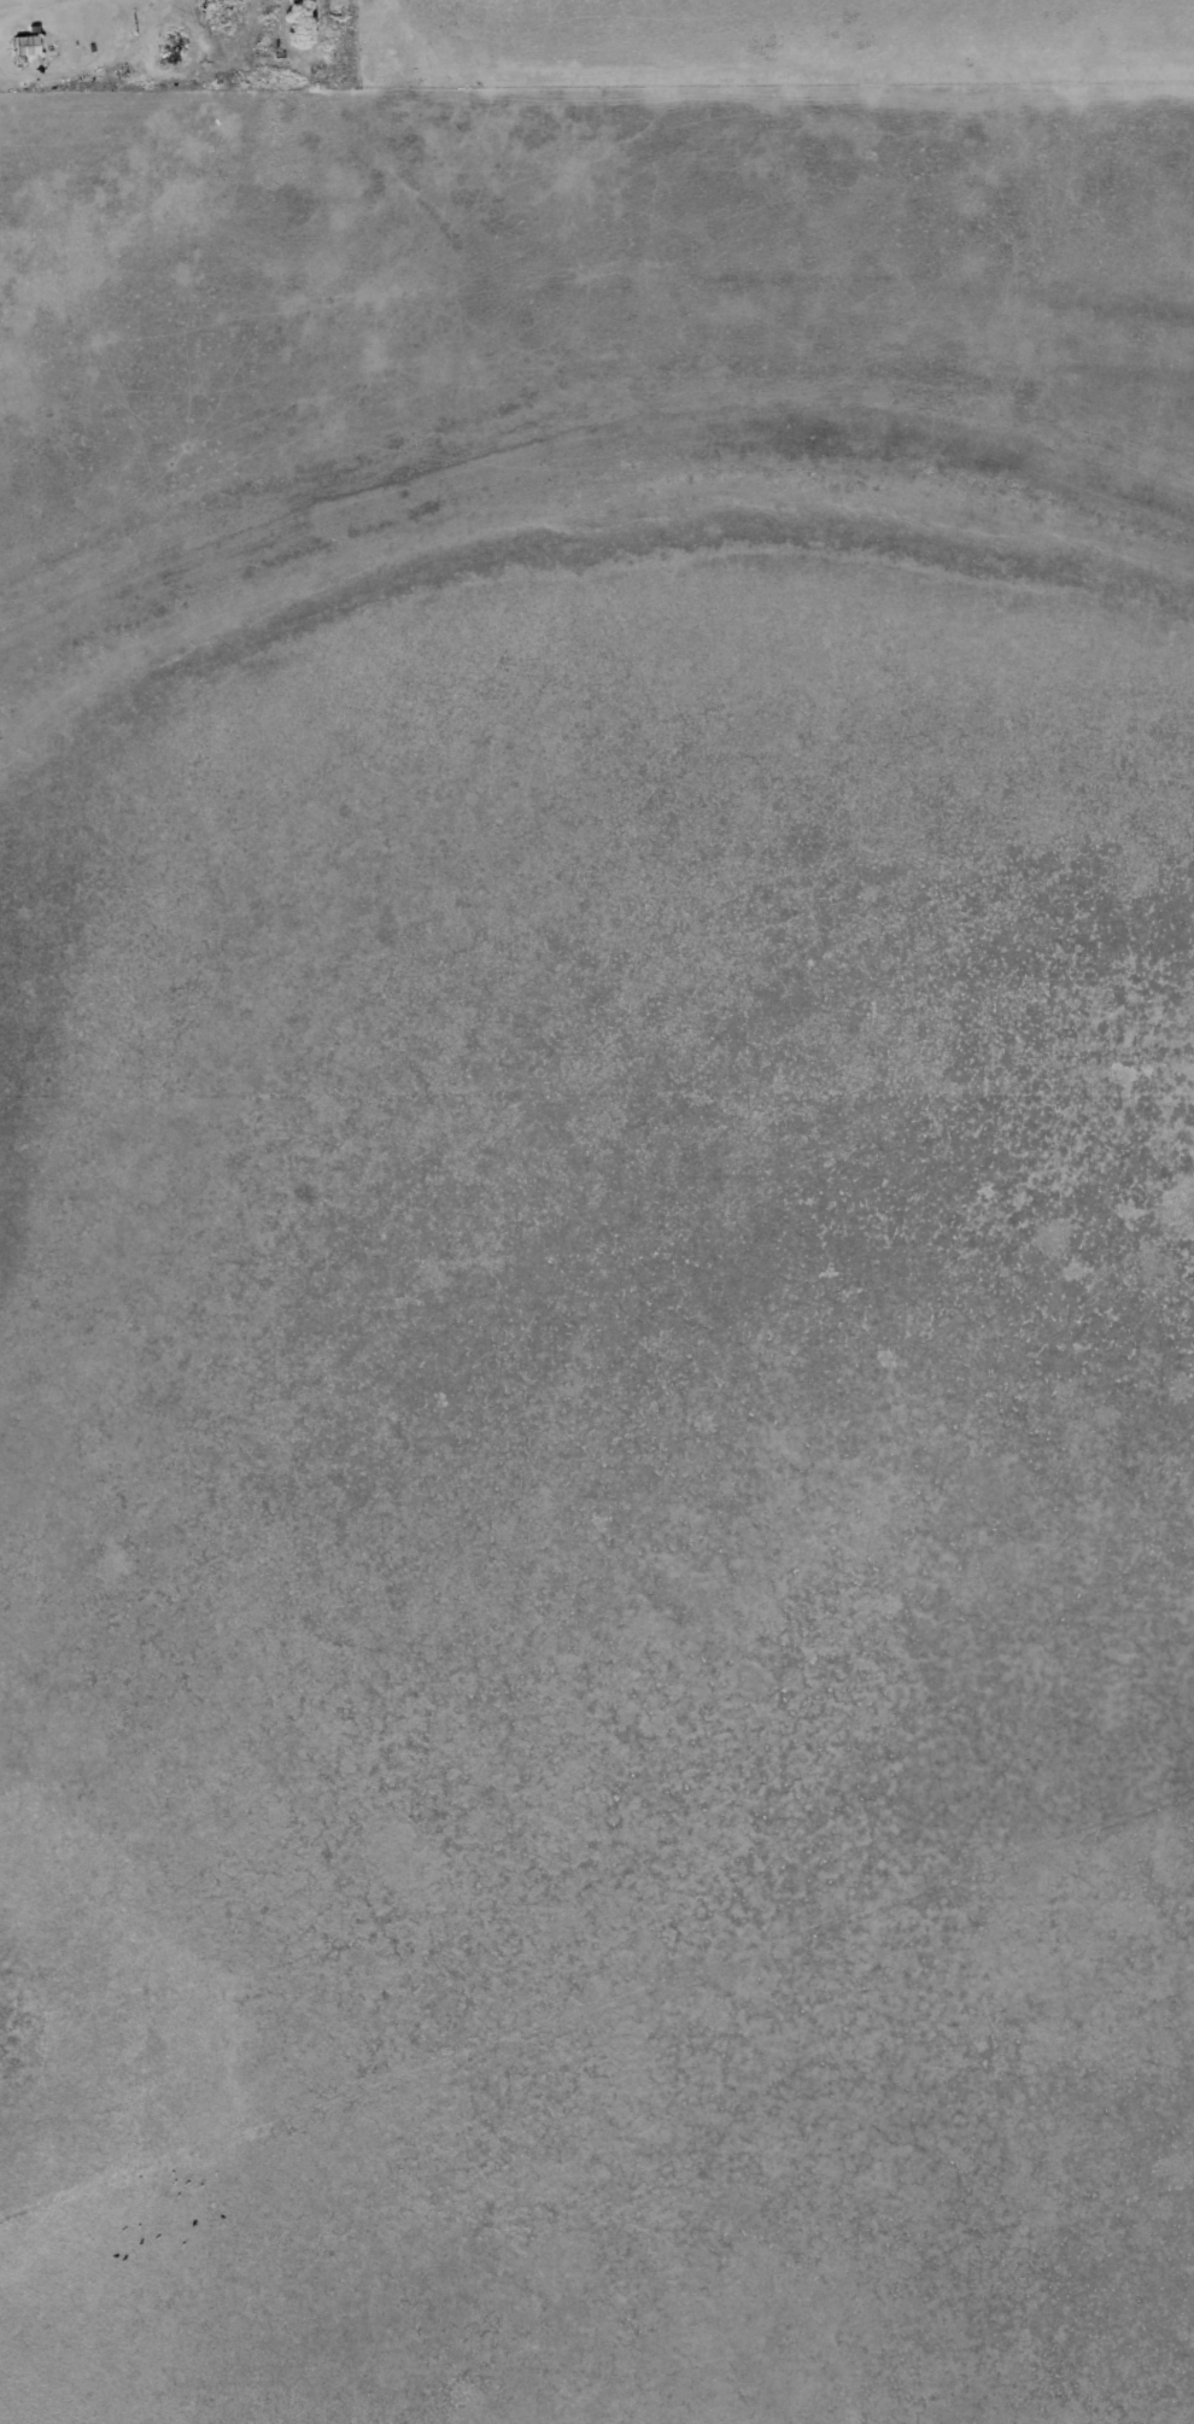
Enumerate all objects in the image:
building: (30, 45)
road: (71, 576)

